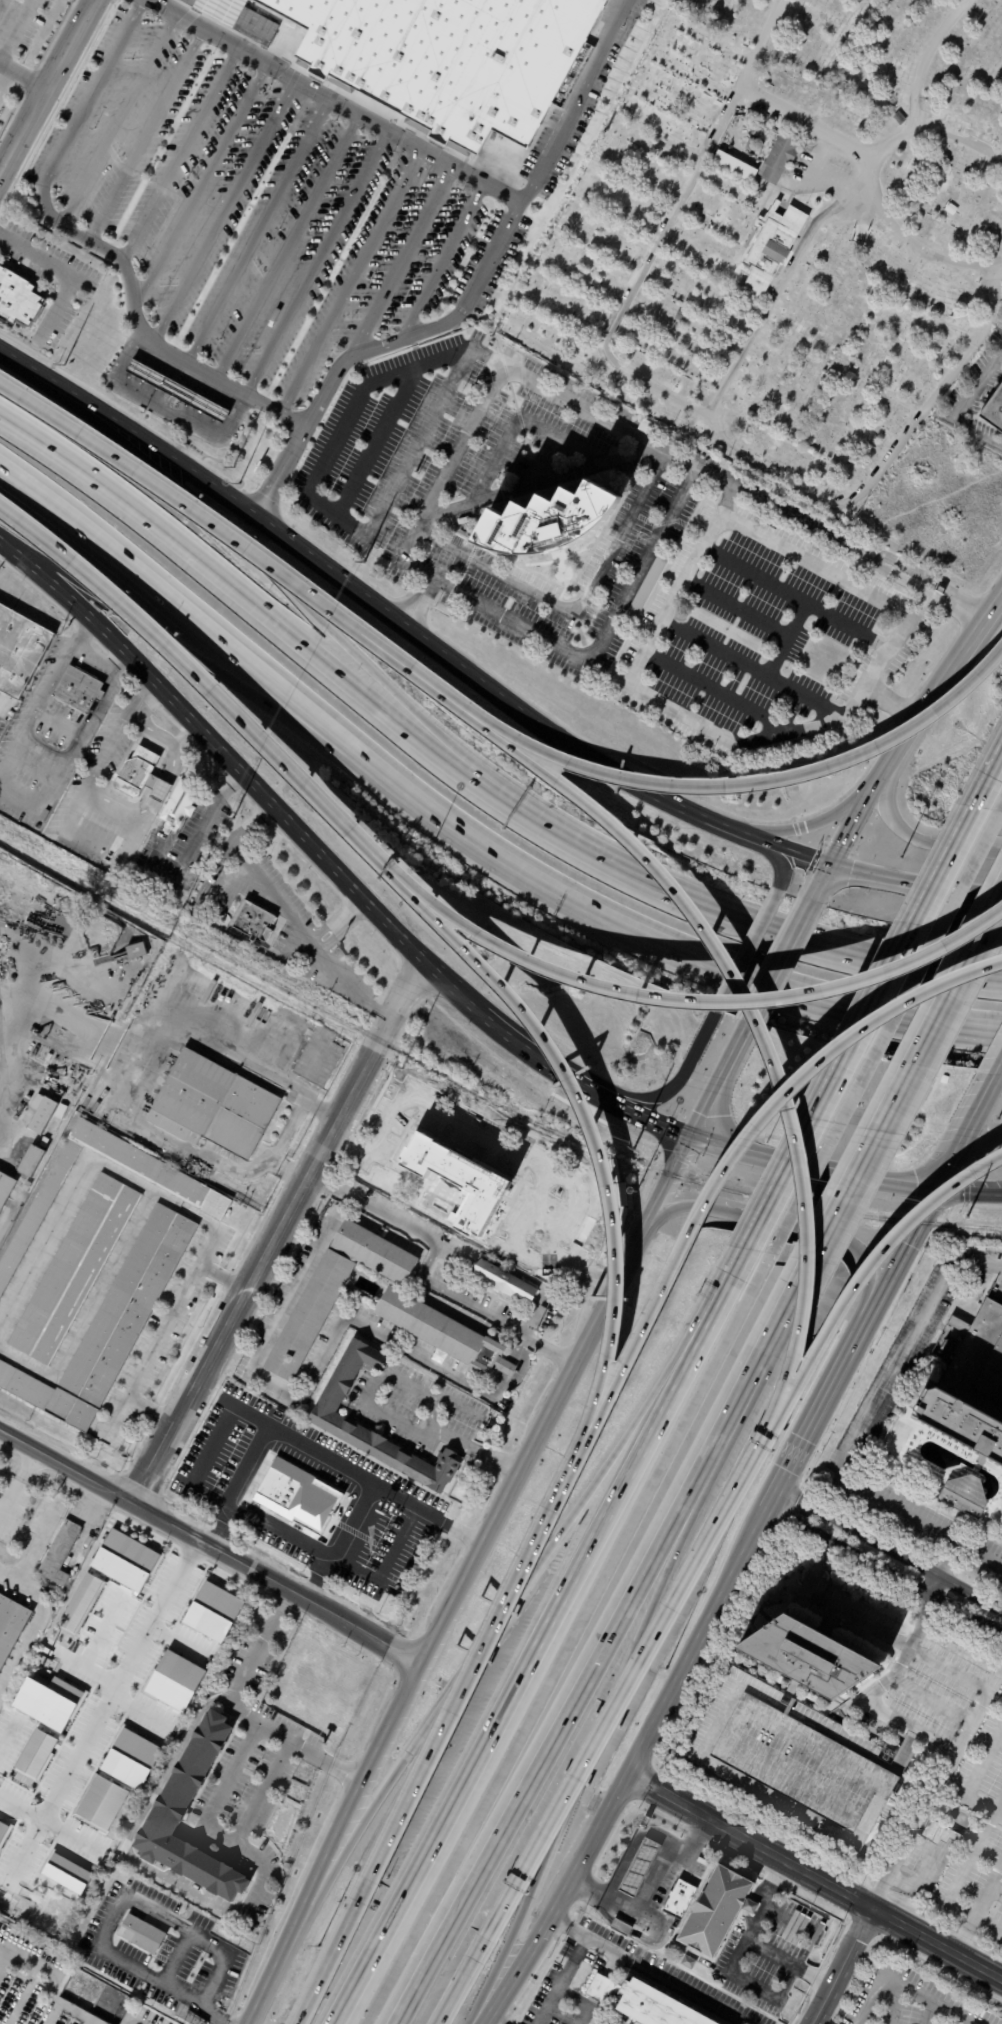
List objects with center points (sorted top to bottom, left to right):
parking lot: (24, 25)
building: (688, 27)
road: (16, 31)
building: (817, 49)
road: (934, 55)
building: (426, 56)
road: (22, 75)
building: (780, 81)
building: (678, 82)
road: (46, 84)
road: (572, 98)
road: (118, 118)
road: (921, 119)
road: (813, 123)
road: (146, 133)
road: (180, 152)
building: (779, 159)
building: (735, 166)
road: (201, 184)
parking lot: (269, 207)
road: (226, 208)
road: (515, 208)
road: (260, 227)
road: (289, 243)
road: (93, 244)
building: (769, 248)
road: (920, 250)
road: (317, 260)
road: (441, 260)
road: (400, 261)
park: (806, 265)
road: (69, 274)
road: (351, 278)
building: (555, 282)
building: (18, 299)
building: (121, 339)
road: (610, 354)
building: (112, 362)
road: (32, 375)
road: (529, 380)
gas station: (176, 391)
building: (177, 391)
road: (960, 405)
road: (165, 407)
building: (994, 410)
building: (644, 426)
road: (375, 437)
parking lot: (386, 442)
road: (890, 464)
road: (440, 479)
road: (239, 503)
road: (776, 506)
parking lot: (656, 512)
road: (646, 519)
building: (546, 521)
road: (247, 549)
road: (834, 573)
road: (925, 579)
building: (647, 586)
road: (289, 590)
road: (918, 590)
road: (37, 591)
road: (671, 597)
road: (913, 603)
road: (417, 604)
road: (573, 607)
road: (251, 608)
road: (182, 609)
parking lot: (765, 627)
road: (180, 650)
building: (19, 651)
road: (54, 670)
road: (944, 681)
road: (209, 688)
building: (80, 689)
road: (891, 705)
road: (116, 736)
road: (724, 736)
road: (159, 739)
road: (76, 748)
road: (574, 751)
road: (11, 754)
building: (138, 773)
road: (760, 781)
road: (153, 782)
road: (988, 782)
building: (179, 804)
road: (126, 812)
road: (815, 822)
road: (849, 831)
building: (163, 837)
road: (916, 838)
road: (797, 856)
road: (327, 864)
road: (779, 864)
traffic signals: (830, 869)
road: (915, 888)
road: (740, 919)
road: (290, 920)
building: (253, 922)
road: (210, 923)
road: (339, 924)
road: (658, 946)
building: (135, 951)
road: (742, 951)
road: (780, 966)
road: (700, 999)
building: (113, 1010)
road: (54, 1017)
road: (753, 1020)
road: (859, 1029)
building: (422, 1045)
road: (994, 1066)
road: (672, 1085)
road: (136, 1086)
road: (717, 1086)
railway: (478, 1094)
road: (893, 1096)
building: (211, 1107)
building: (60, 1111)
building: (42, 1114)
road: (585, 1125)
traffic signals: (689, 1140)
road: (743, 1140)
building: (44, 1143)
building: (32, 1162)
road: (812, 1163)
road: (288, 1170)
road: (75, 1173)
building: (455, 1181)
road: (325, 1184)
building: (348, 1184)
building: (26, 1187)
traffic signals: (935, 1187)
road: (664, 1188)
building: (5, 1189)
road: (968, 1191)
road: (928, 1199)
building: (210, 1207)
road: (781, 1222)
road: (276, 1233)
road: (200, 1263)
road: (869, 1266)
building: (73, 1270)
building: (505, 1282)
road: (726, 1284)
road: (289, 1285)
building: (364, 1304)
road: (87, 1308)
road: (532, 1319)
building: (111, 1326)
road: (513, 1349)
road: (151, 1351)
road: (578, 1356)
road: (503, 1368)
road: (518, 1372)
road: (497, 1387)
road: (743, 1389)
building: (961, 1390)
road: (150, 1409)
building: (266, 1412)
road: (379, 1412)
road: (468, 1412)
road: (816, 1415)
building: (327, 1417)
road: (859, 1432)
road: (206, 1454)
road: (14, 1480)
building: (963, 1496)
building: (298, 1497)
road: (206, 1546)
road: (889, 1549)
road: (31, 1550)
building: (59, 1553)
building: (126, 1560)
road: (816, 1567)
road: (882, 1569)
road: (935, 1584)
building: (57, 1602)
building: (79, 1603)
building: (213, 1611)
road: (857, 1620)
building: (10, 1625)
road: (491, 1625)
road: (90, 1646)
road: (480, 1650)
building: (811, 1658)
building: (44, 1662)
road: (245, 1666)
building: (48, 1672)
road: (524, 1673)
building: (175, 1681)
road: (625, 1685)
building: (212, 1691)
road: (980, 1700)
building: (48, 1702)
road: (393, 1703)
road: (101, 1706)
road: (137, 1712)
road: (901, 1716)
road: (8, 1734)
road: (546, 1748)
road: (590, 1751)
building: (36, 1755)
building: (131, 1758)
building: (802, 1764)
road: (627, 1772)
building: (186, 1781)
road: (974, 1781)
road: (223, 1792)
road: (997, 1800)
building: (101, 1804)
road: (917, 1815)
road: (49, 1824)
building: (3, 1830)
building: (941, 1834)
road: (748, 1840)
road: (629, 1852)
road: (1001, 1857)
road: (141, 1865)
building: (640, 1869)
building: (66, 1873)
road: (647, 1881)
road: (994, 1892)
road: (125, 1900)
building: (680, 1900)
road: (977, 1905)
building: (717, 1911)
road: (351, 1914)
road: (986, 1927)
building: (621, 1928)
building: (141, 1933)
road: (935, 1945)
road: (5, 1949)
road: (172, 1960)
road: (572, 1962)
building: (689, 1963)
road: (788, 1963)
road: (840, 1967)
road: (57, 1977)
road: (266, 1980)
road: (664, 1981)
road: (759, 1985)
road: (315, 1986)
building: (600, 1988)
road: (911, 1990)
road: (454, 1991)
road: (19, 1994)
road: (581, 2003)
building: (663, 2006)
road: (49, 2014)
road: (213, 2017)
road: (134, 2019)
road: (89, 2023)

